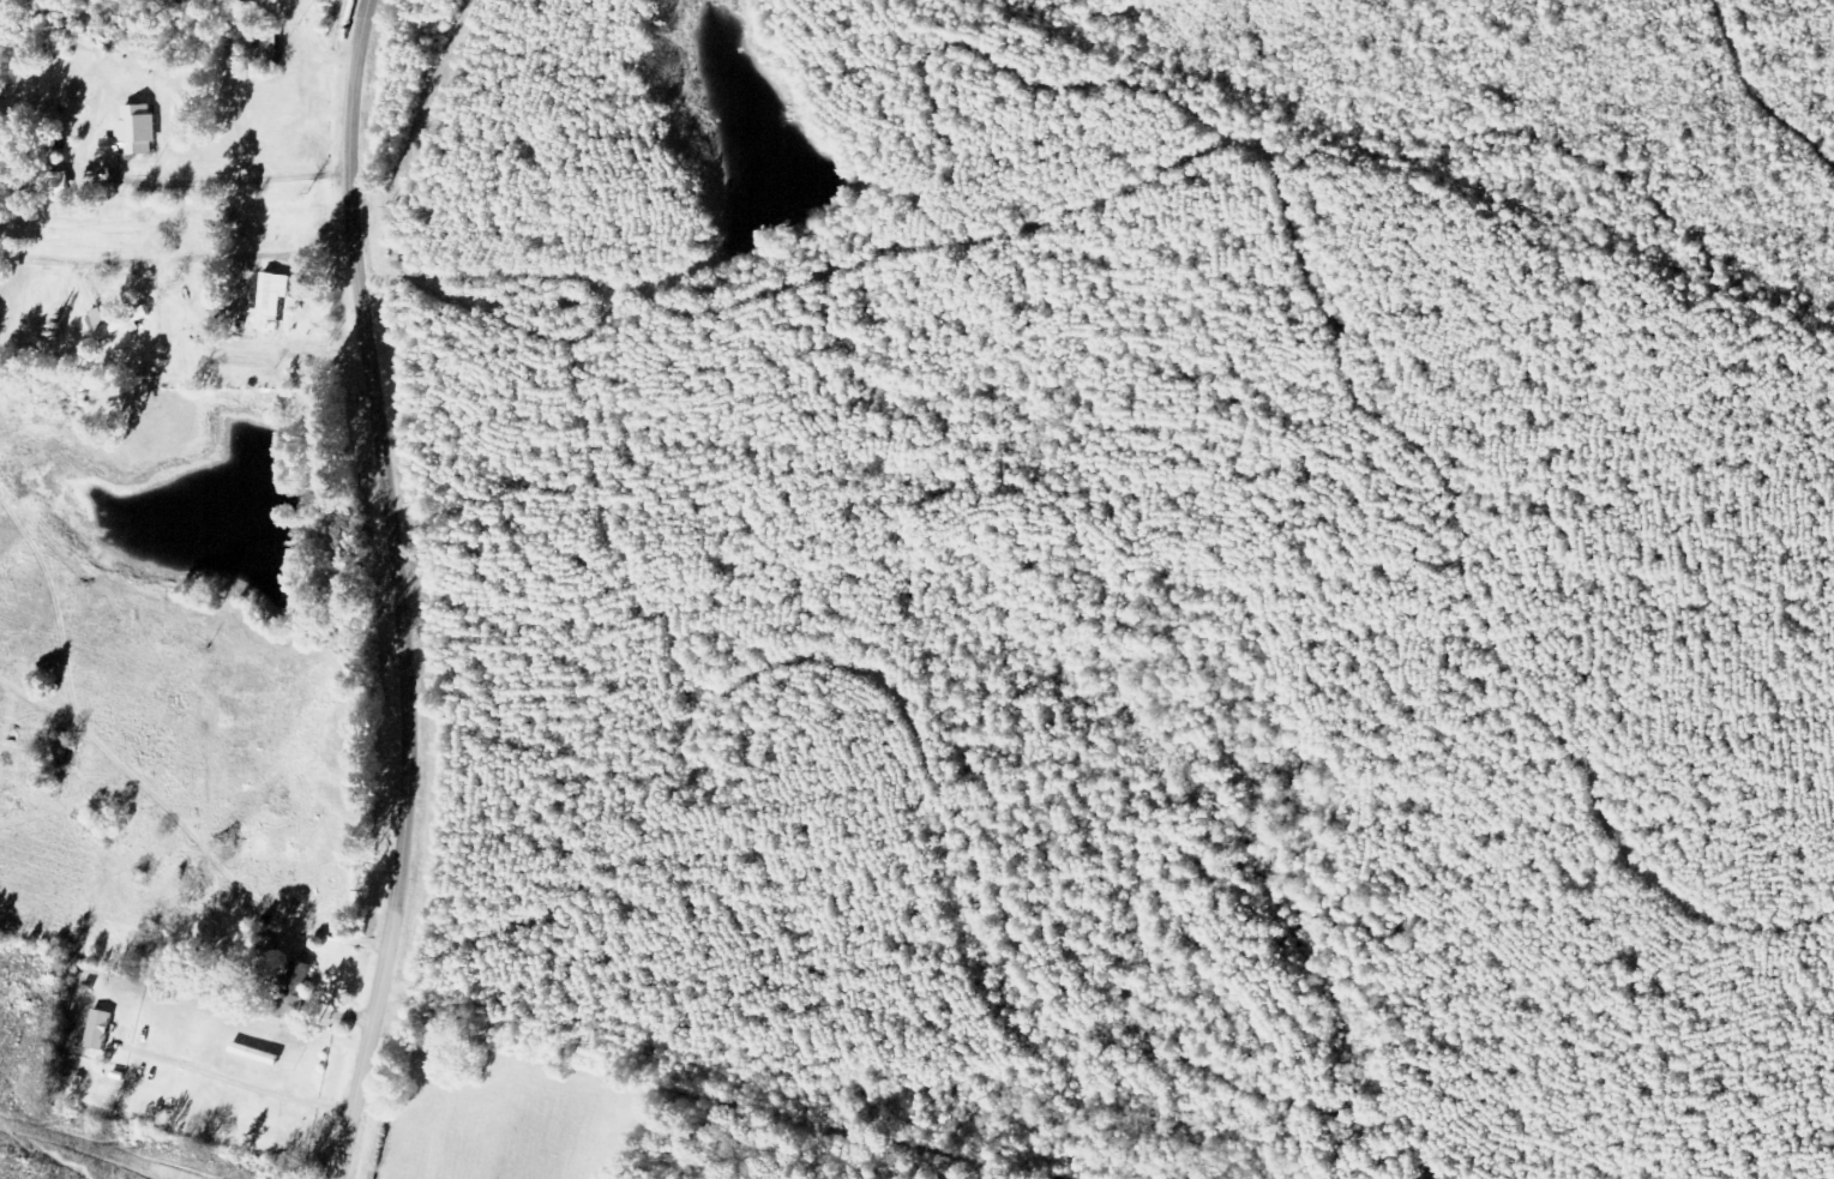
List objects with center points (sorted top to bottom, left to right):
building: (138, 133)
building: (67, 184)
building: (272, 302)
building: (116, 323)
road: (396, 590)
building: (306, 982)
building: (106, 1029)

